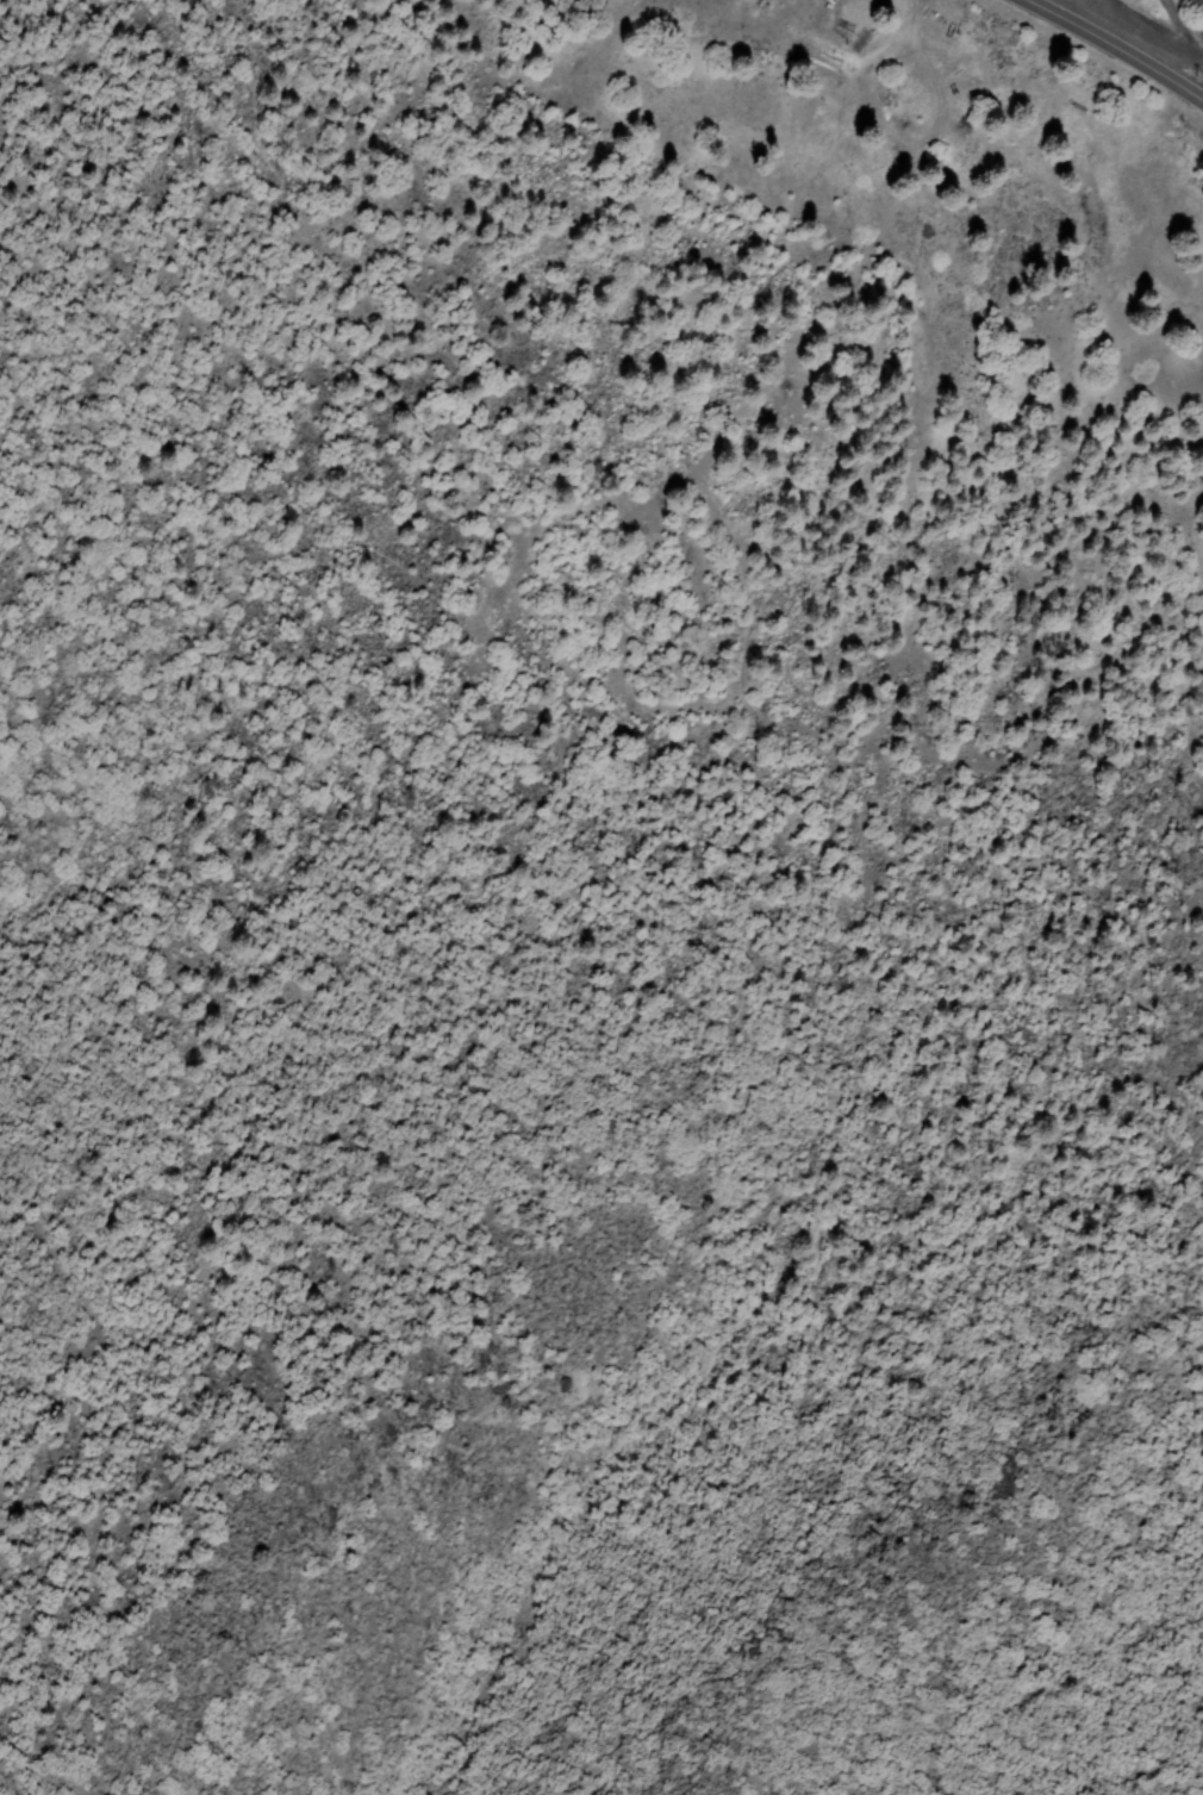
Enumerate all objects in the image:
road: (1054, 12)
road: (1105, 52)

